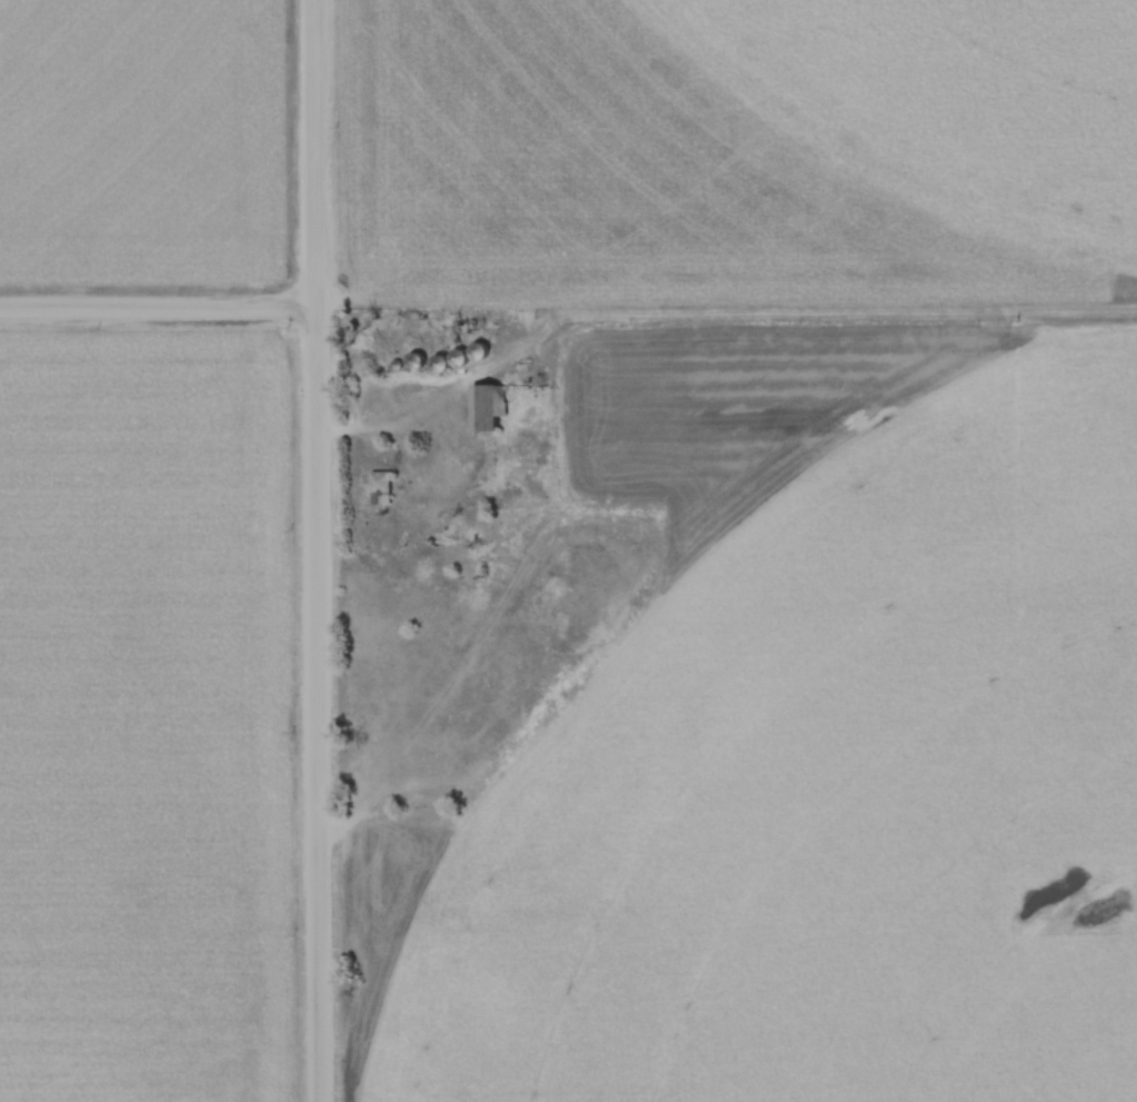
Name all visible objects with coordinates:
road: (156, 307)
building: (479, 348)
silo: (479, 348)
building: (457, 355)
silo: (457, 355)
building: (413, 358)
silo: (413, 358)
building: (437, 359)
silo: (437, 359)
building: (396, 361)
silo: (396, 361)
building: (485, 400)
building: (379, 477)
road: (315, 550)

